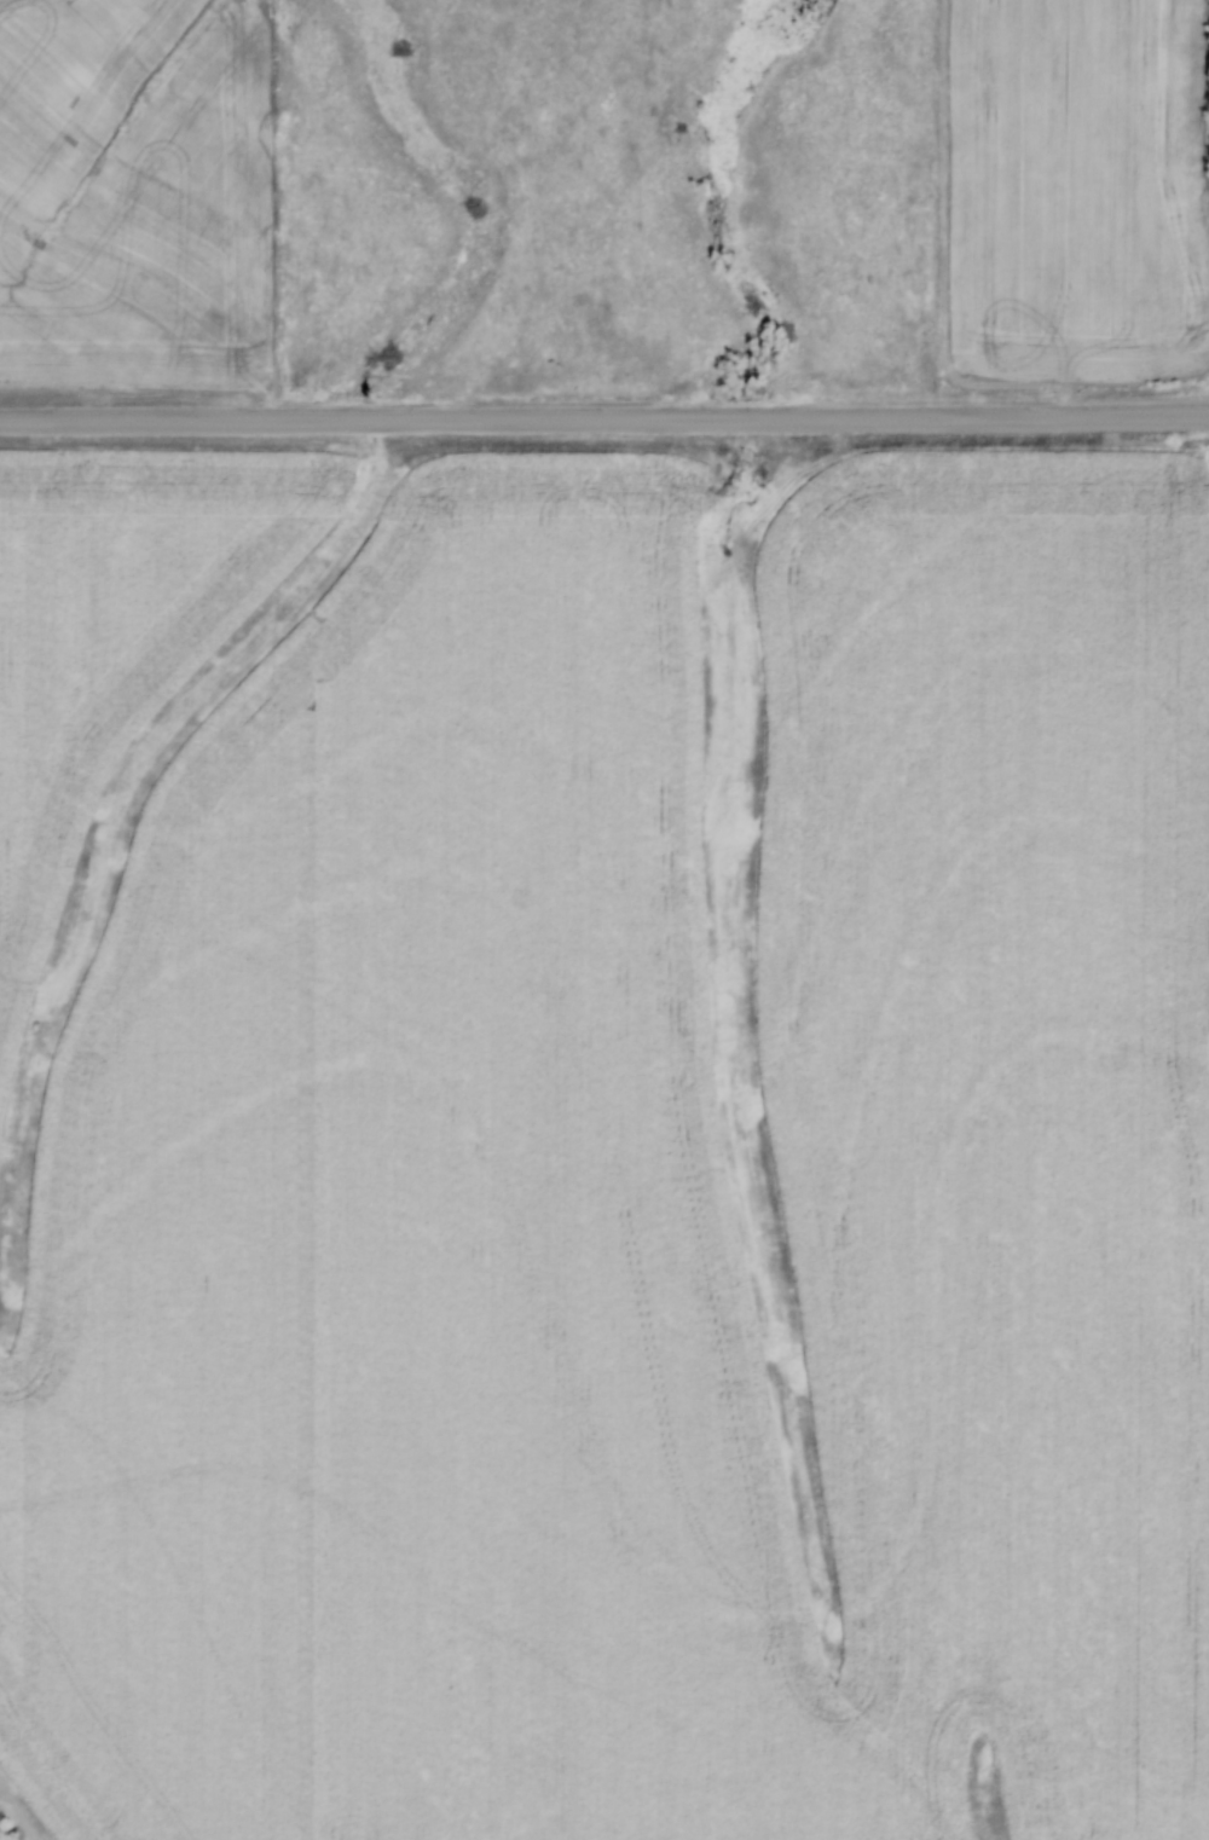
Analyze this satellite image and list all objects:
crop: (1083, 183)
road: (604, 421)

